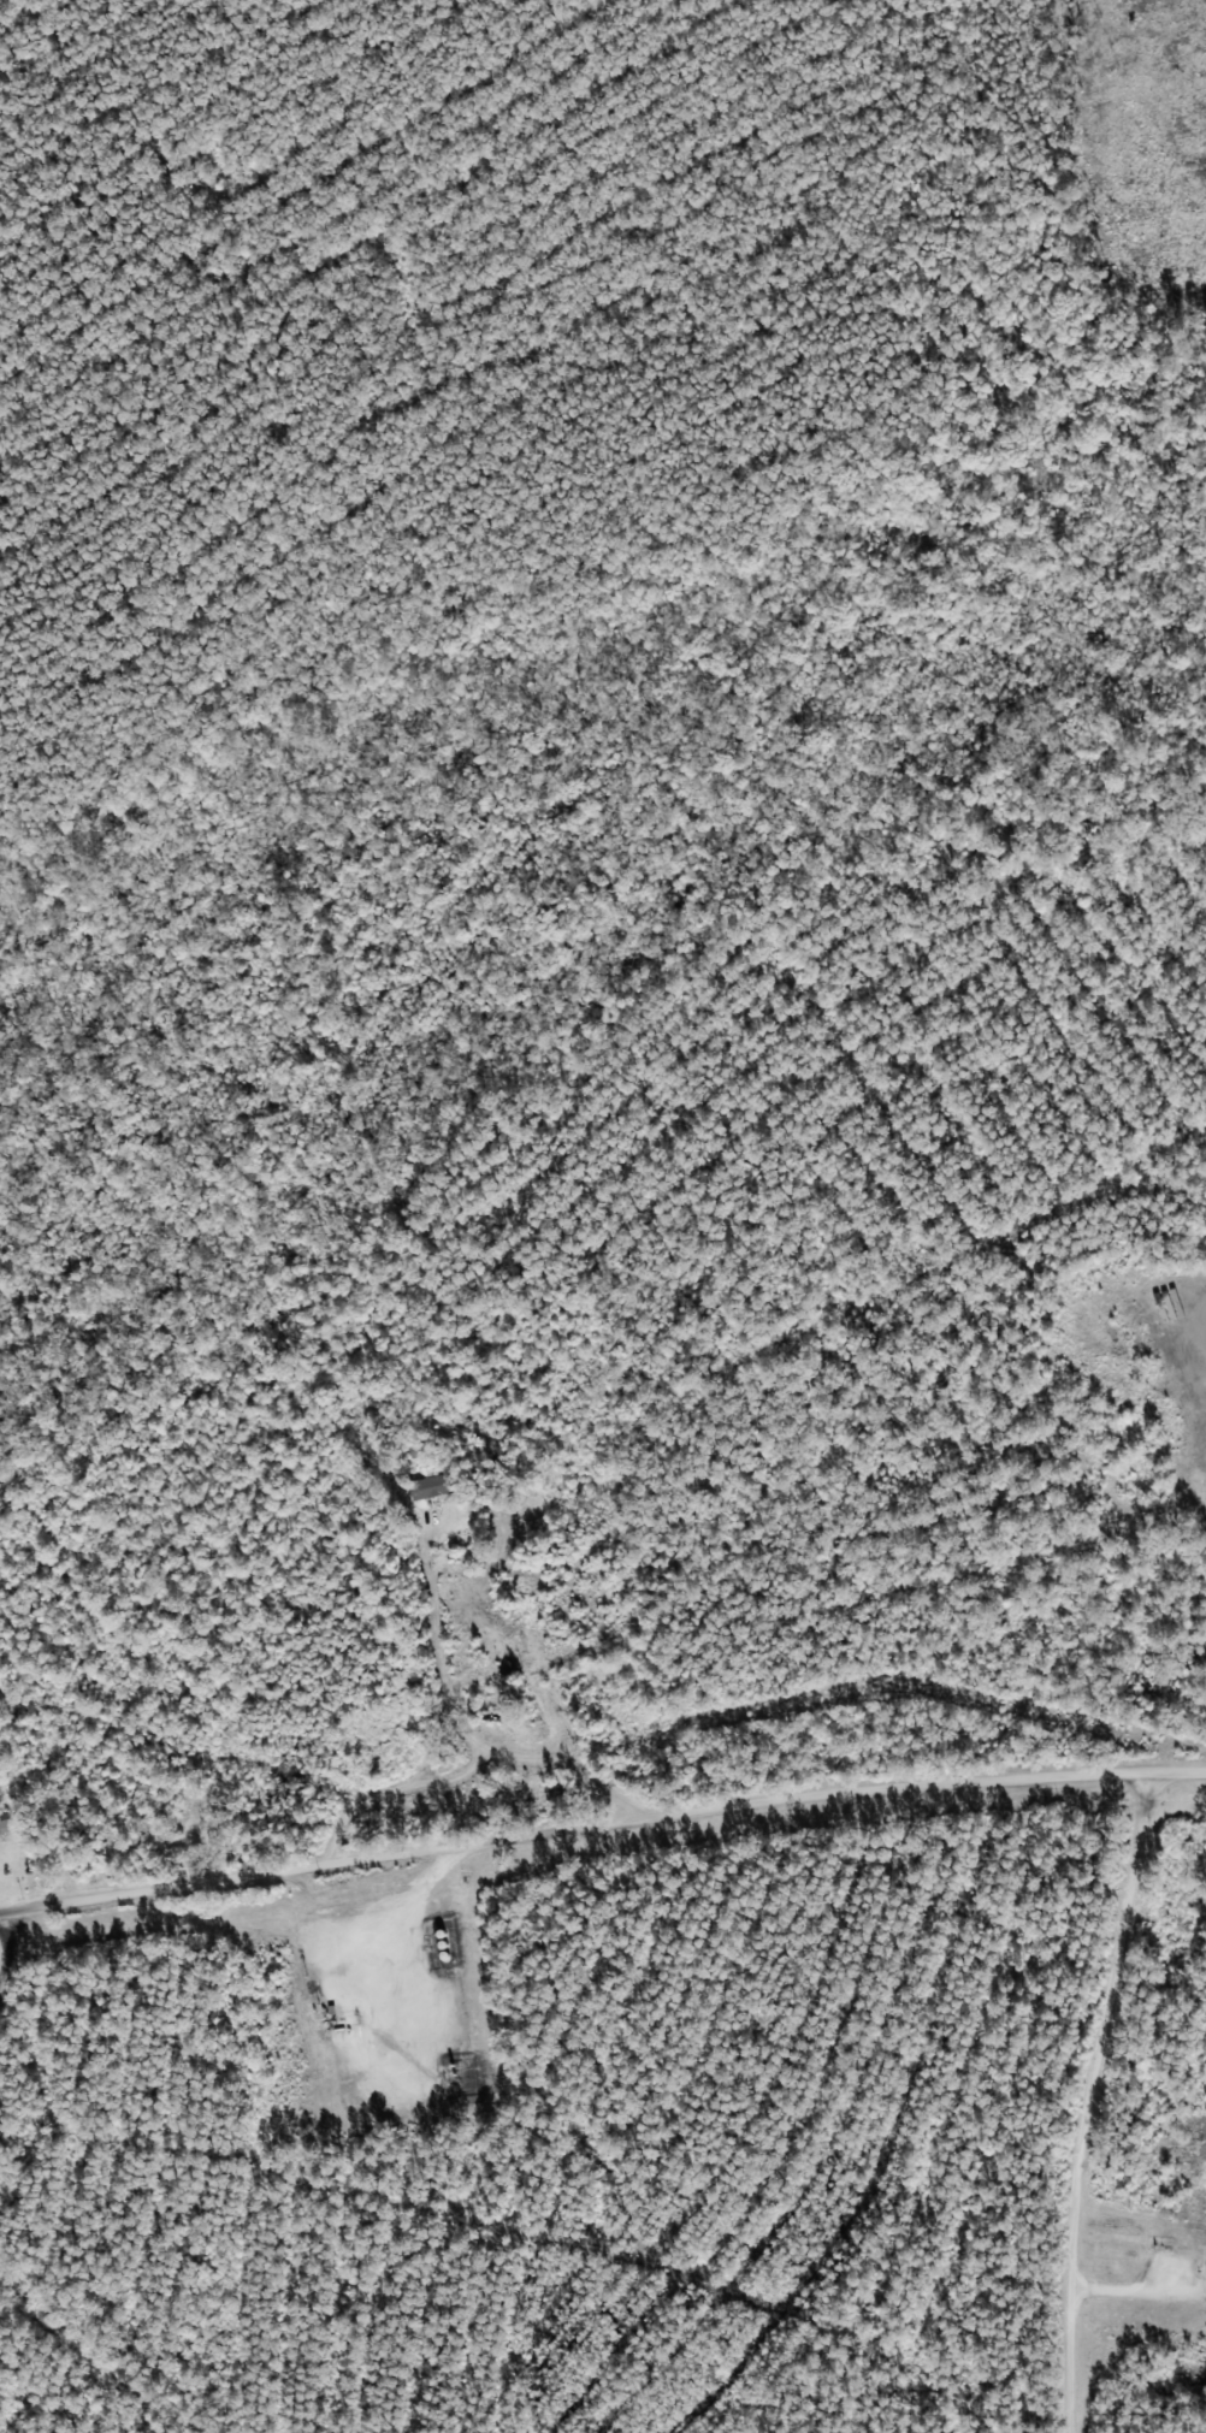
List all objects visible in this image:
road: (486, 1674)
building: (5, 1822)
road: (602, 1852)
road: (13, 1995)

